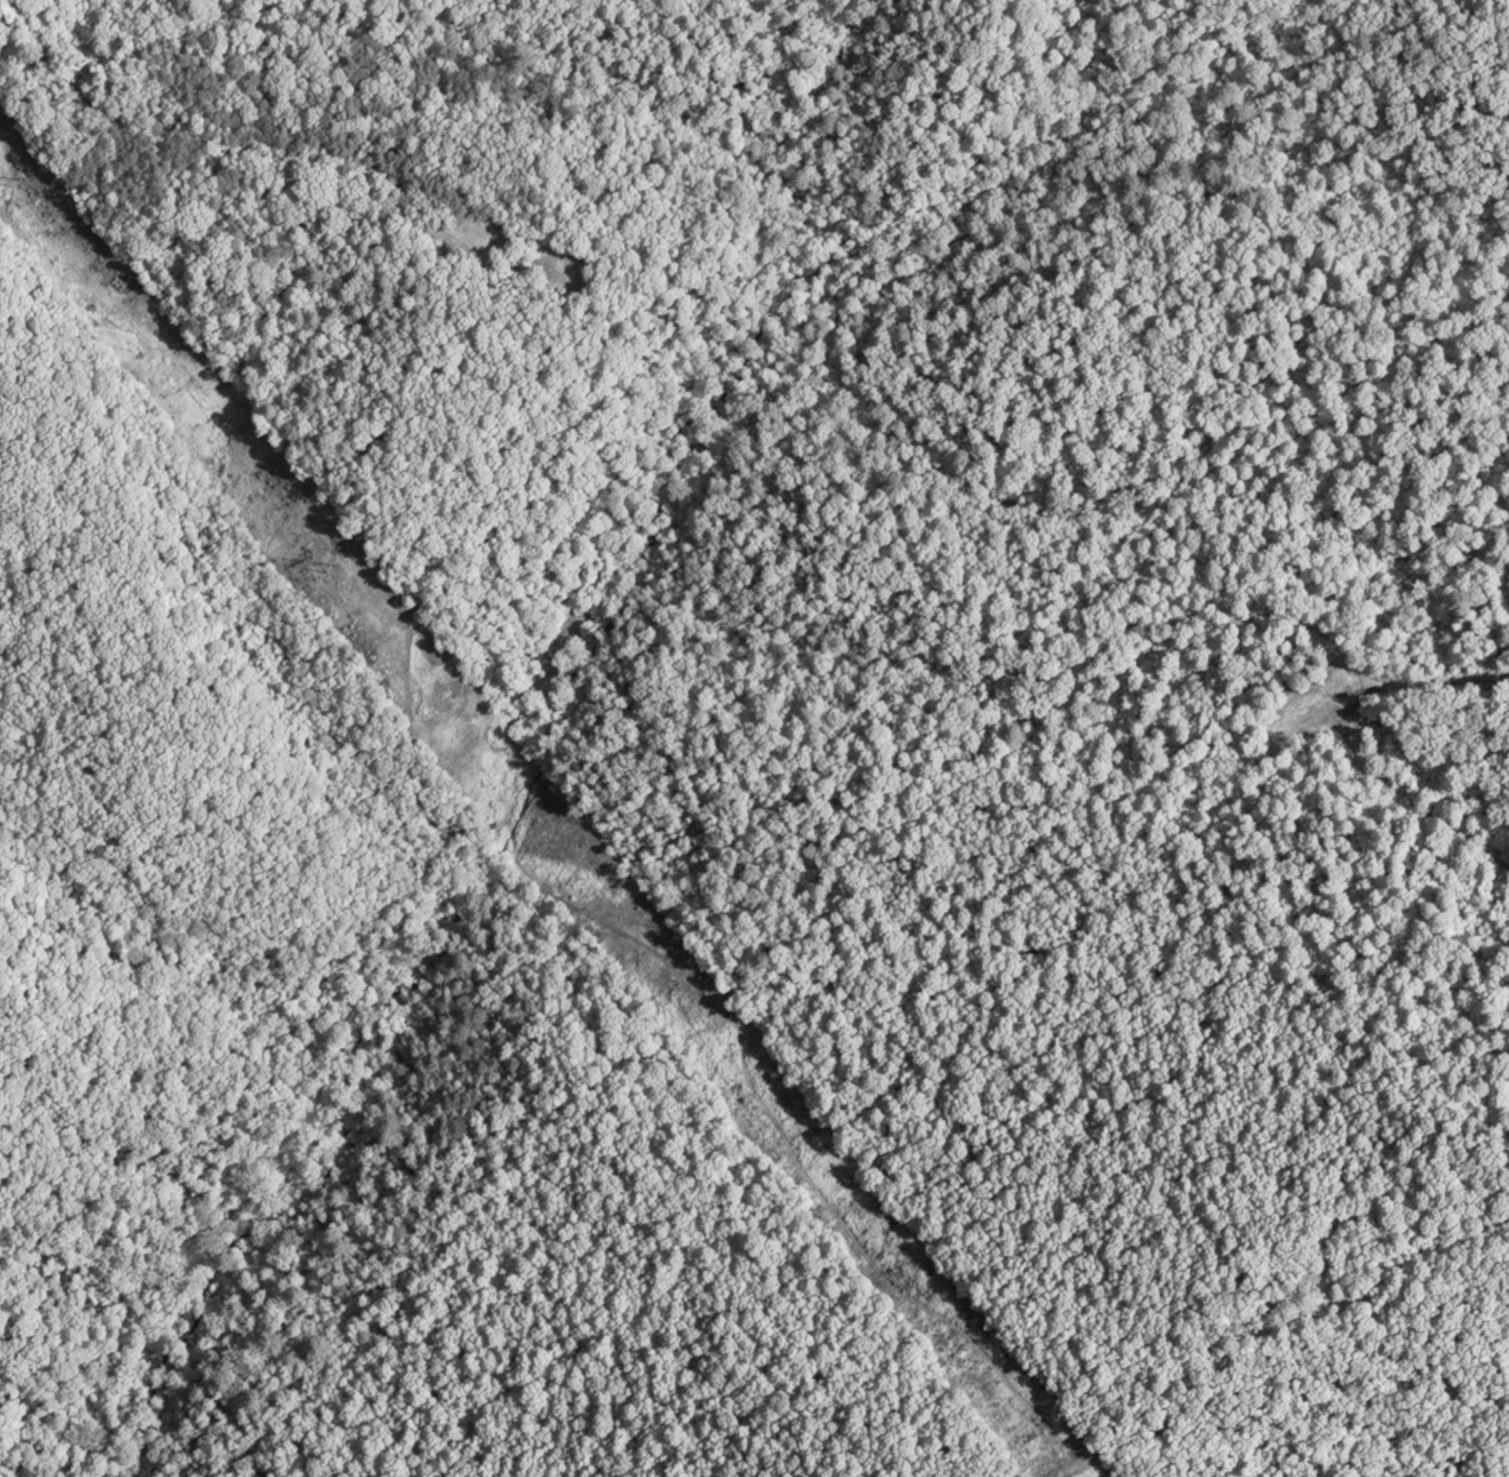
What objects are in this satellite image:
power tower: (16, 183)
power tower: (330, 569)
power tower: (980, 1367)

